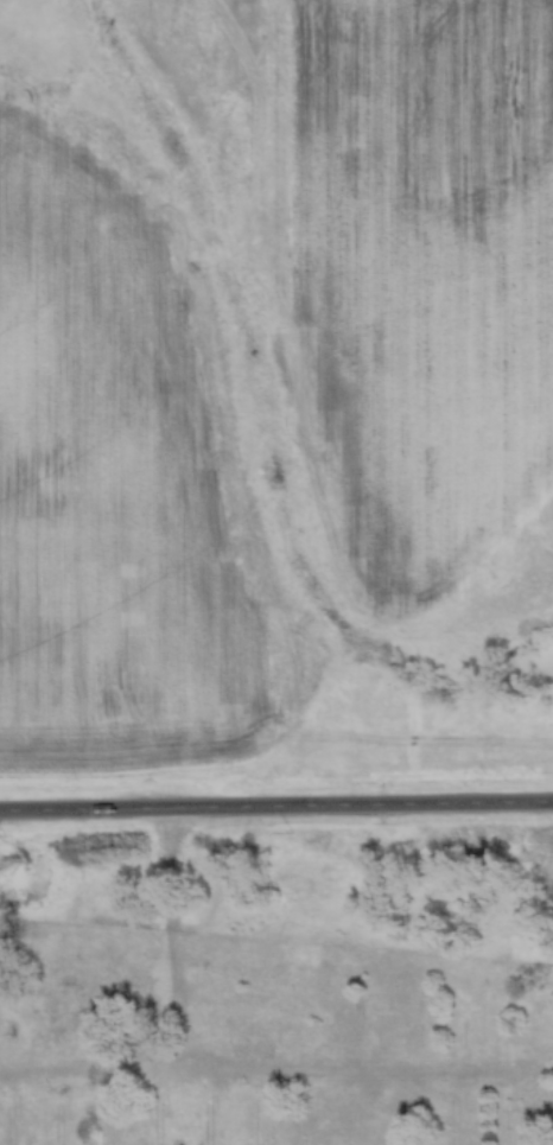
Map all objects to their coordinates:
road: (275, 807)
building: (84, 1012)
road: (263, 1082)
building: (510, 1119)
building: (456, 1120)

